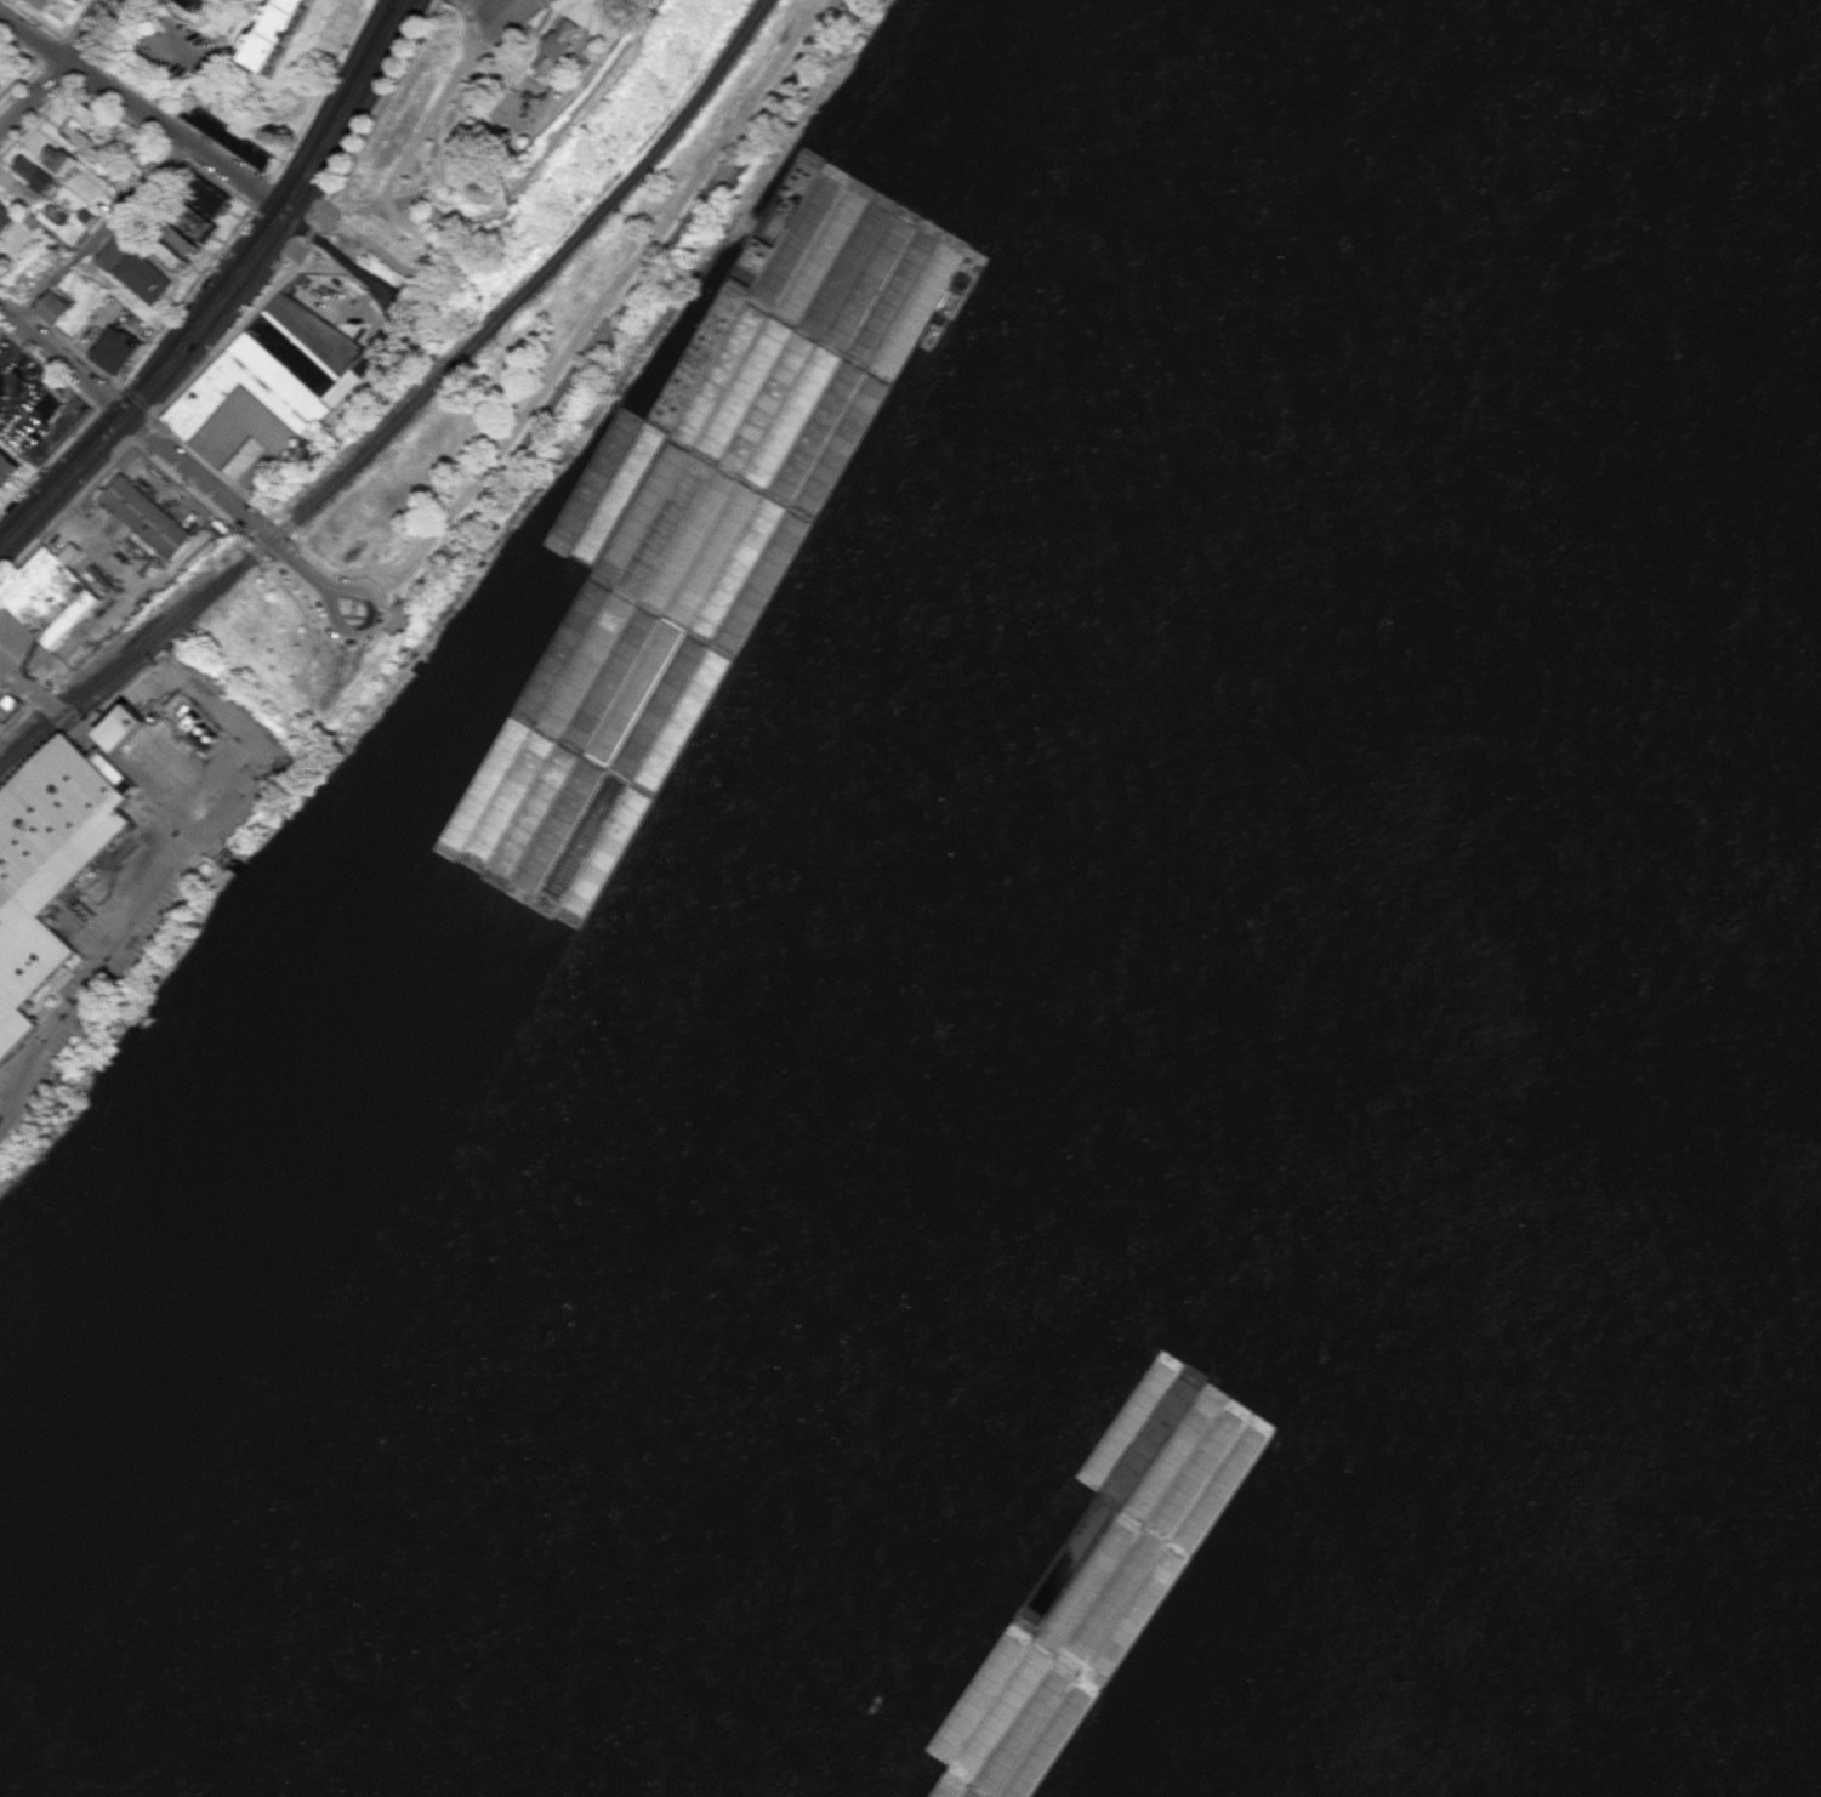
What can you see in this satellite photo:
road: (546, 4)
road: (470, 5)
road: (496, 6)
road: (516, 6)
road: (86, 30)
road: (581, 44)
building: (556, 46)
parking lot: (0, 83)
road: (510, 85)
road: (34, 96)
road: (342, 106)
road: (141, 110)
park: (473, 118)
street lamp: (746, 132)
building: (224, 135)
street lamp: (725, 163)
street lamp: (705, 190)
street lamp: (685, 217)
road: (99, 229)
street lamp: (666, 246)
road: (343, 256)
street lamp: (626, 305)
road: (597, 318)
street lamp: (602, 328)
building: (689, 336)
street lamp: (584, 358)
road: (62, 359)
road: (149, 383)
building: (271, 386)
street lamp: (563, 387)
park: (503, 404)
railway: (409, 408)
street lamp: (523, 444)
road: (240, 510)
building: (149, 514)
building: (49, 595)
railway: (121, 675)
road: (23, 683)
building: (123, 726)
building: (53, 837)
river: (1115, 888)
road: (143, 904)
building: (2, 1120)
building: (1094, 1337)
building: (1196, 1449)
building: (1040, 1450)
building: (1228, 1462)
building: (1091, 1473)
building: (1055, 1483)
building: (1092, 1506)
building: (997, 1602)
building: (1022, 1615)
building: (1063, 1659)
building: (903, 1735)
building: (966, 1762)
building: (1006, 1779)

